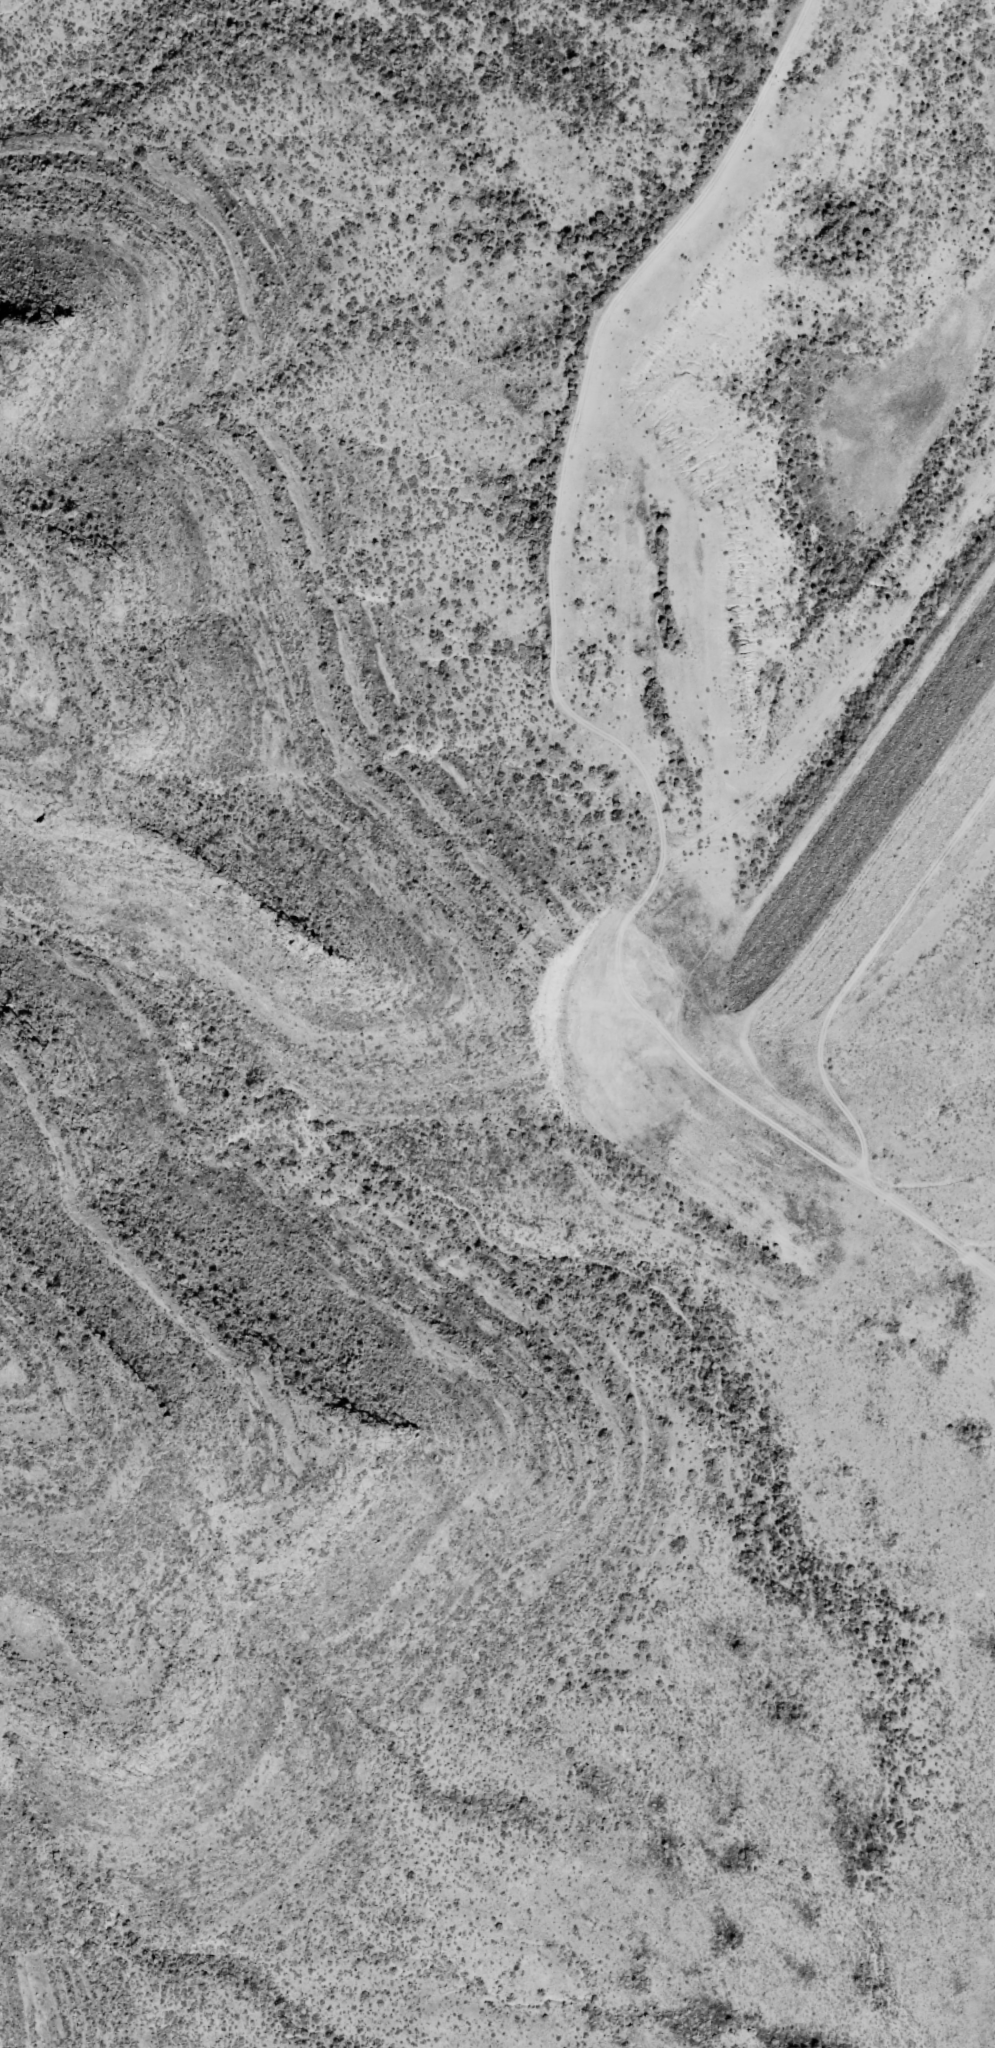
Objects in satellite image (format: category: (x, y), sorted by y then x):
road: (576, 717)
road: (856, 969)

